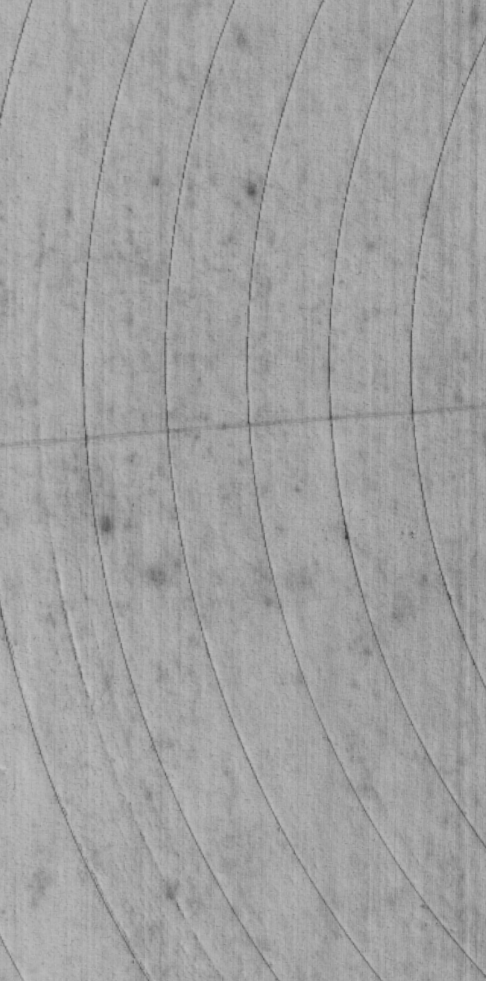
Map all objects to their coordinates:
crop: (243, 490)

